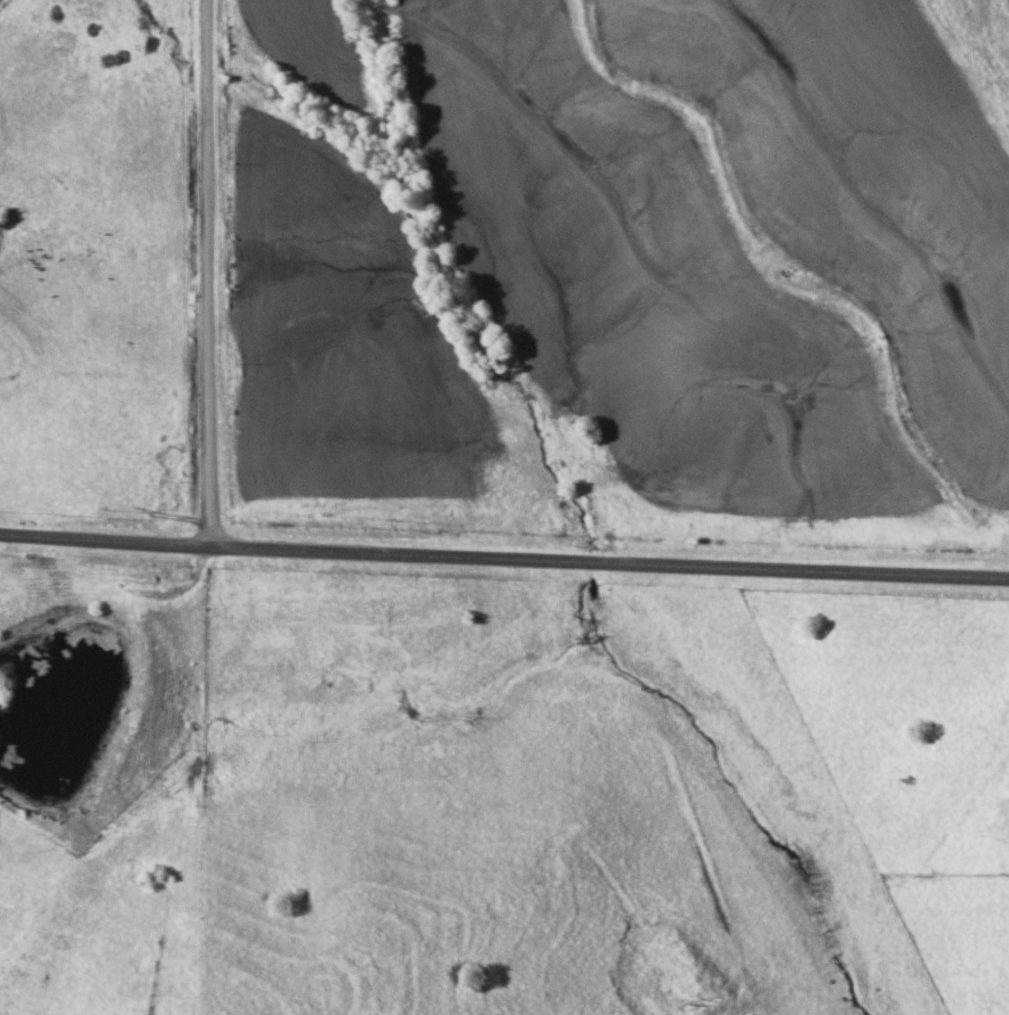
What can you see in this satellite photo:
road: (206, 271)
road: (504, 555)

